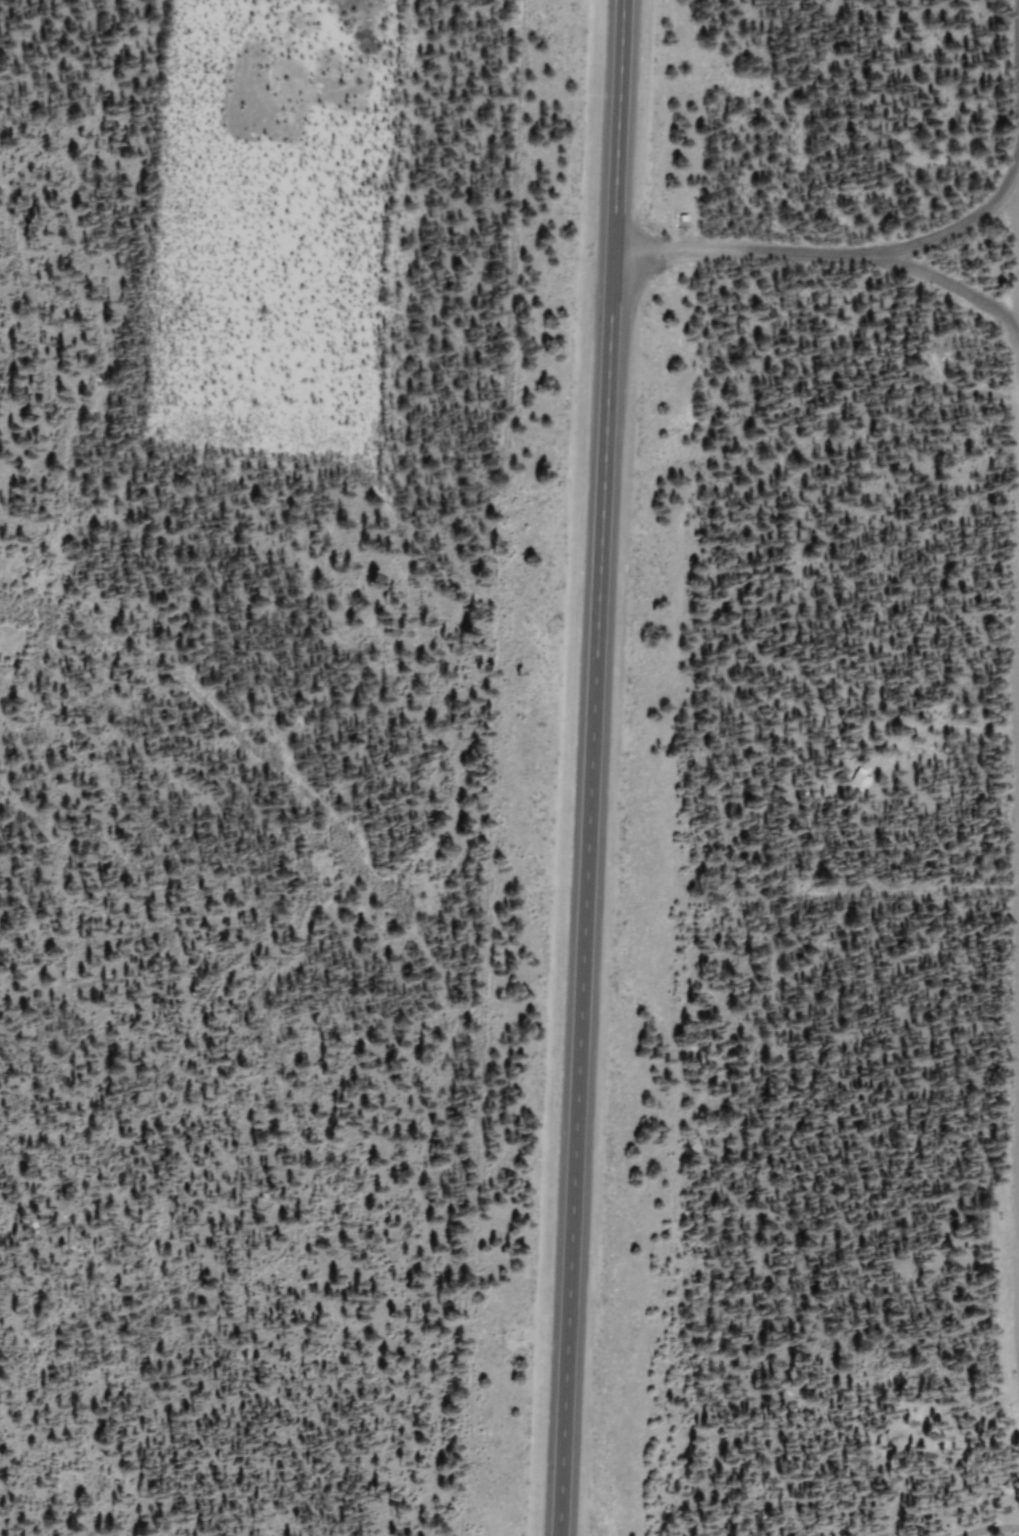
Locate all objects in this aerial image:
road: (826, 255)
road: (951, 285)
road: (1016, 334)
road: (587, 768)
road: (1015, 1190)

